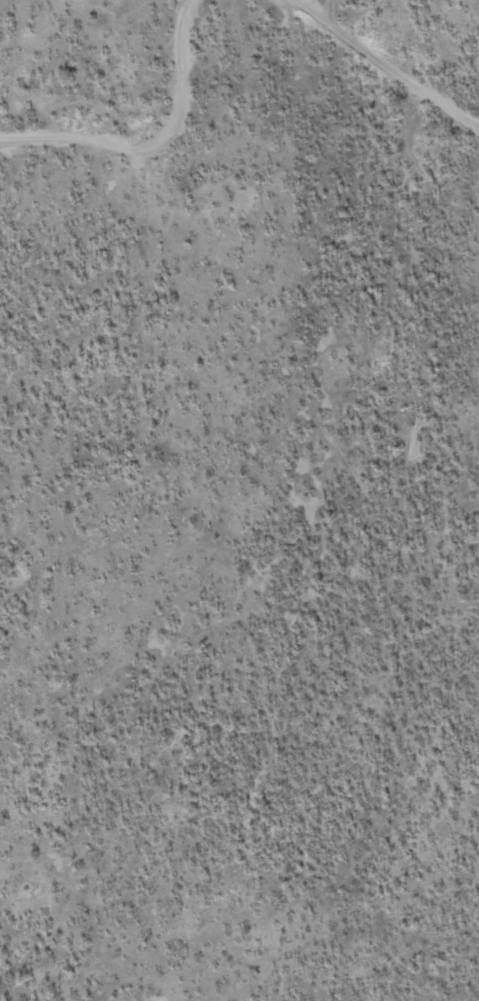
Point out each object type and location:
road: (383, 63)
road: (153, 147)

